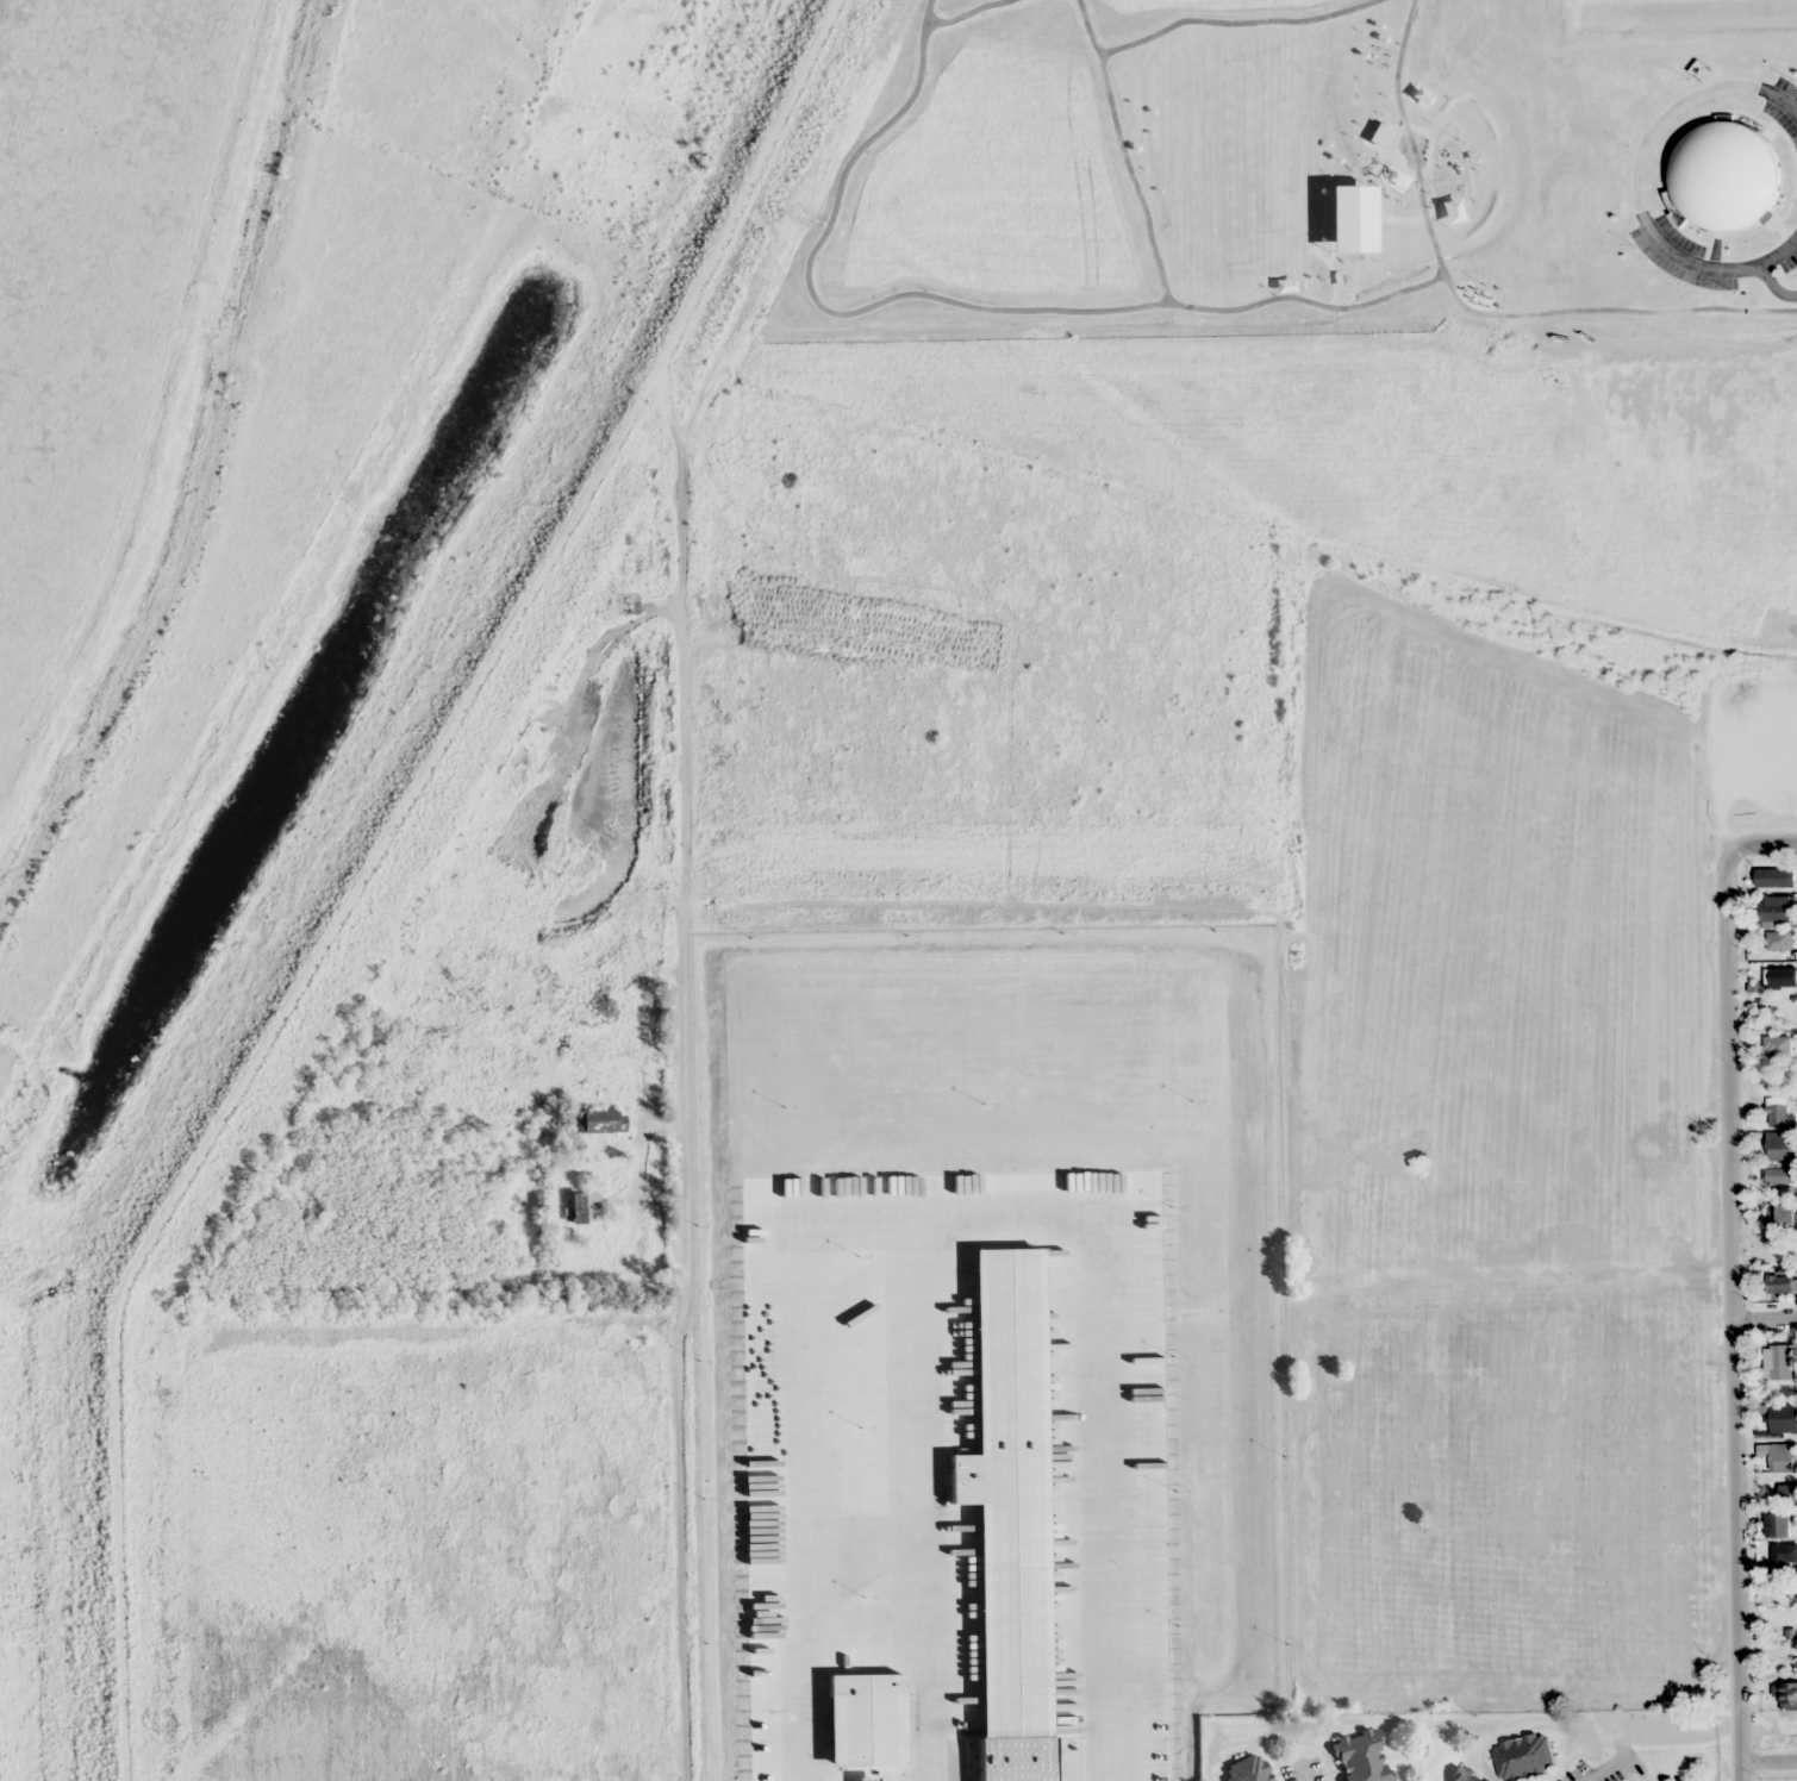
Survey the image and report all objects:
building: (1783, 188)
park: (1764, 214)
road: (1764, 845)
road: (693, 867)
building: (1776, 877)
building: (585, 902)
building: (1777, 911)
building: (1778, 941)
building: (580, 949)
building: (1782, 976)
building: (580, 992)
building: (1780, 1052)
building: (587, 1063)
road: (263, 1079)
building: (1779, 1113)
building: (601, 1121)
building: (1782, 1146)
building: (1780, 1180)
building: (584, 1206)
building: (1785, 1217)
building: (1782, 1283)
road: (1765, 1317)
road: (1733, 1318)
building: (1779, 1362)
building: (1783, 1418)
building: (1782, 1457)
building: (1787, 1493)
building: (1780, 1526)
building: (1783, 1557)
building: (1785, 1695)
building: (1523, 1756)
building: (1360, 1757)
road: (1767, 1758)
building: (1247, 1770)
building: (1464, 1775)

